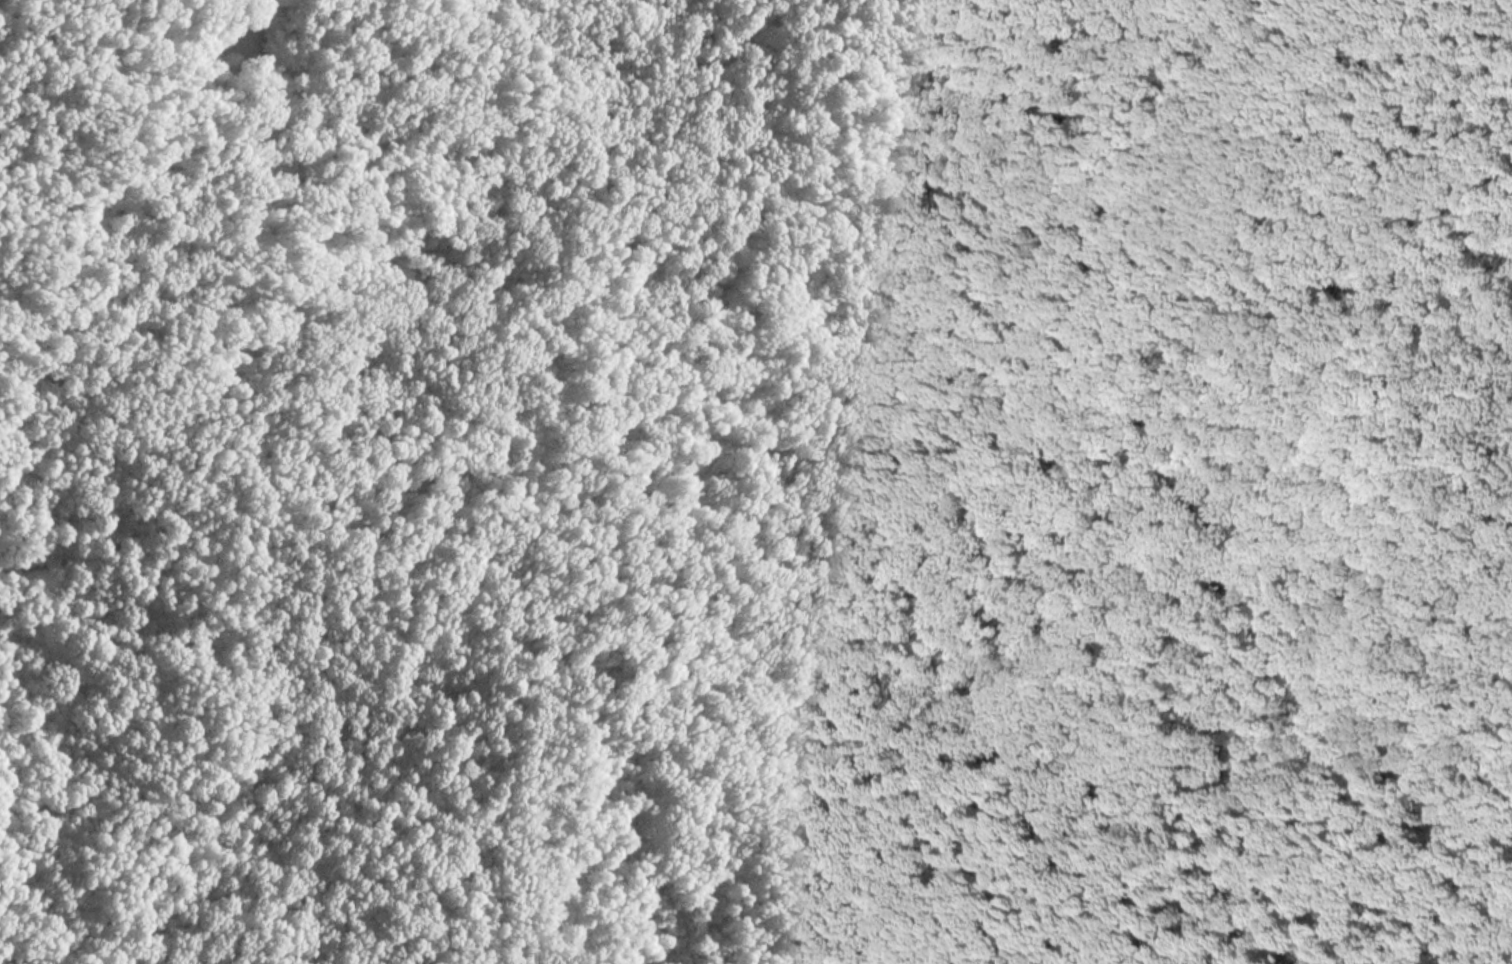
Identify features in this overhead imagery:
park: (756, 482)
road: (1332, 809)
road: (1418, 811)
road: (941, 866)

